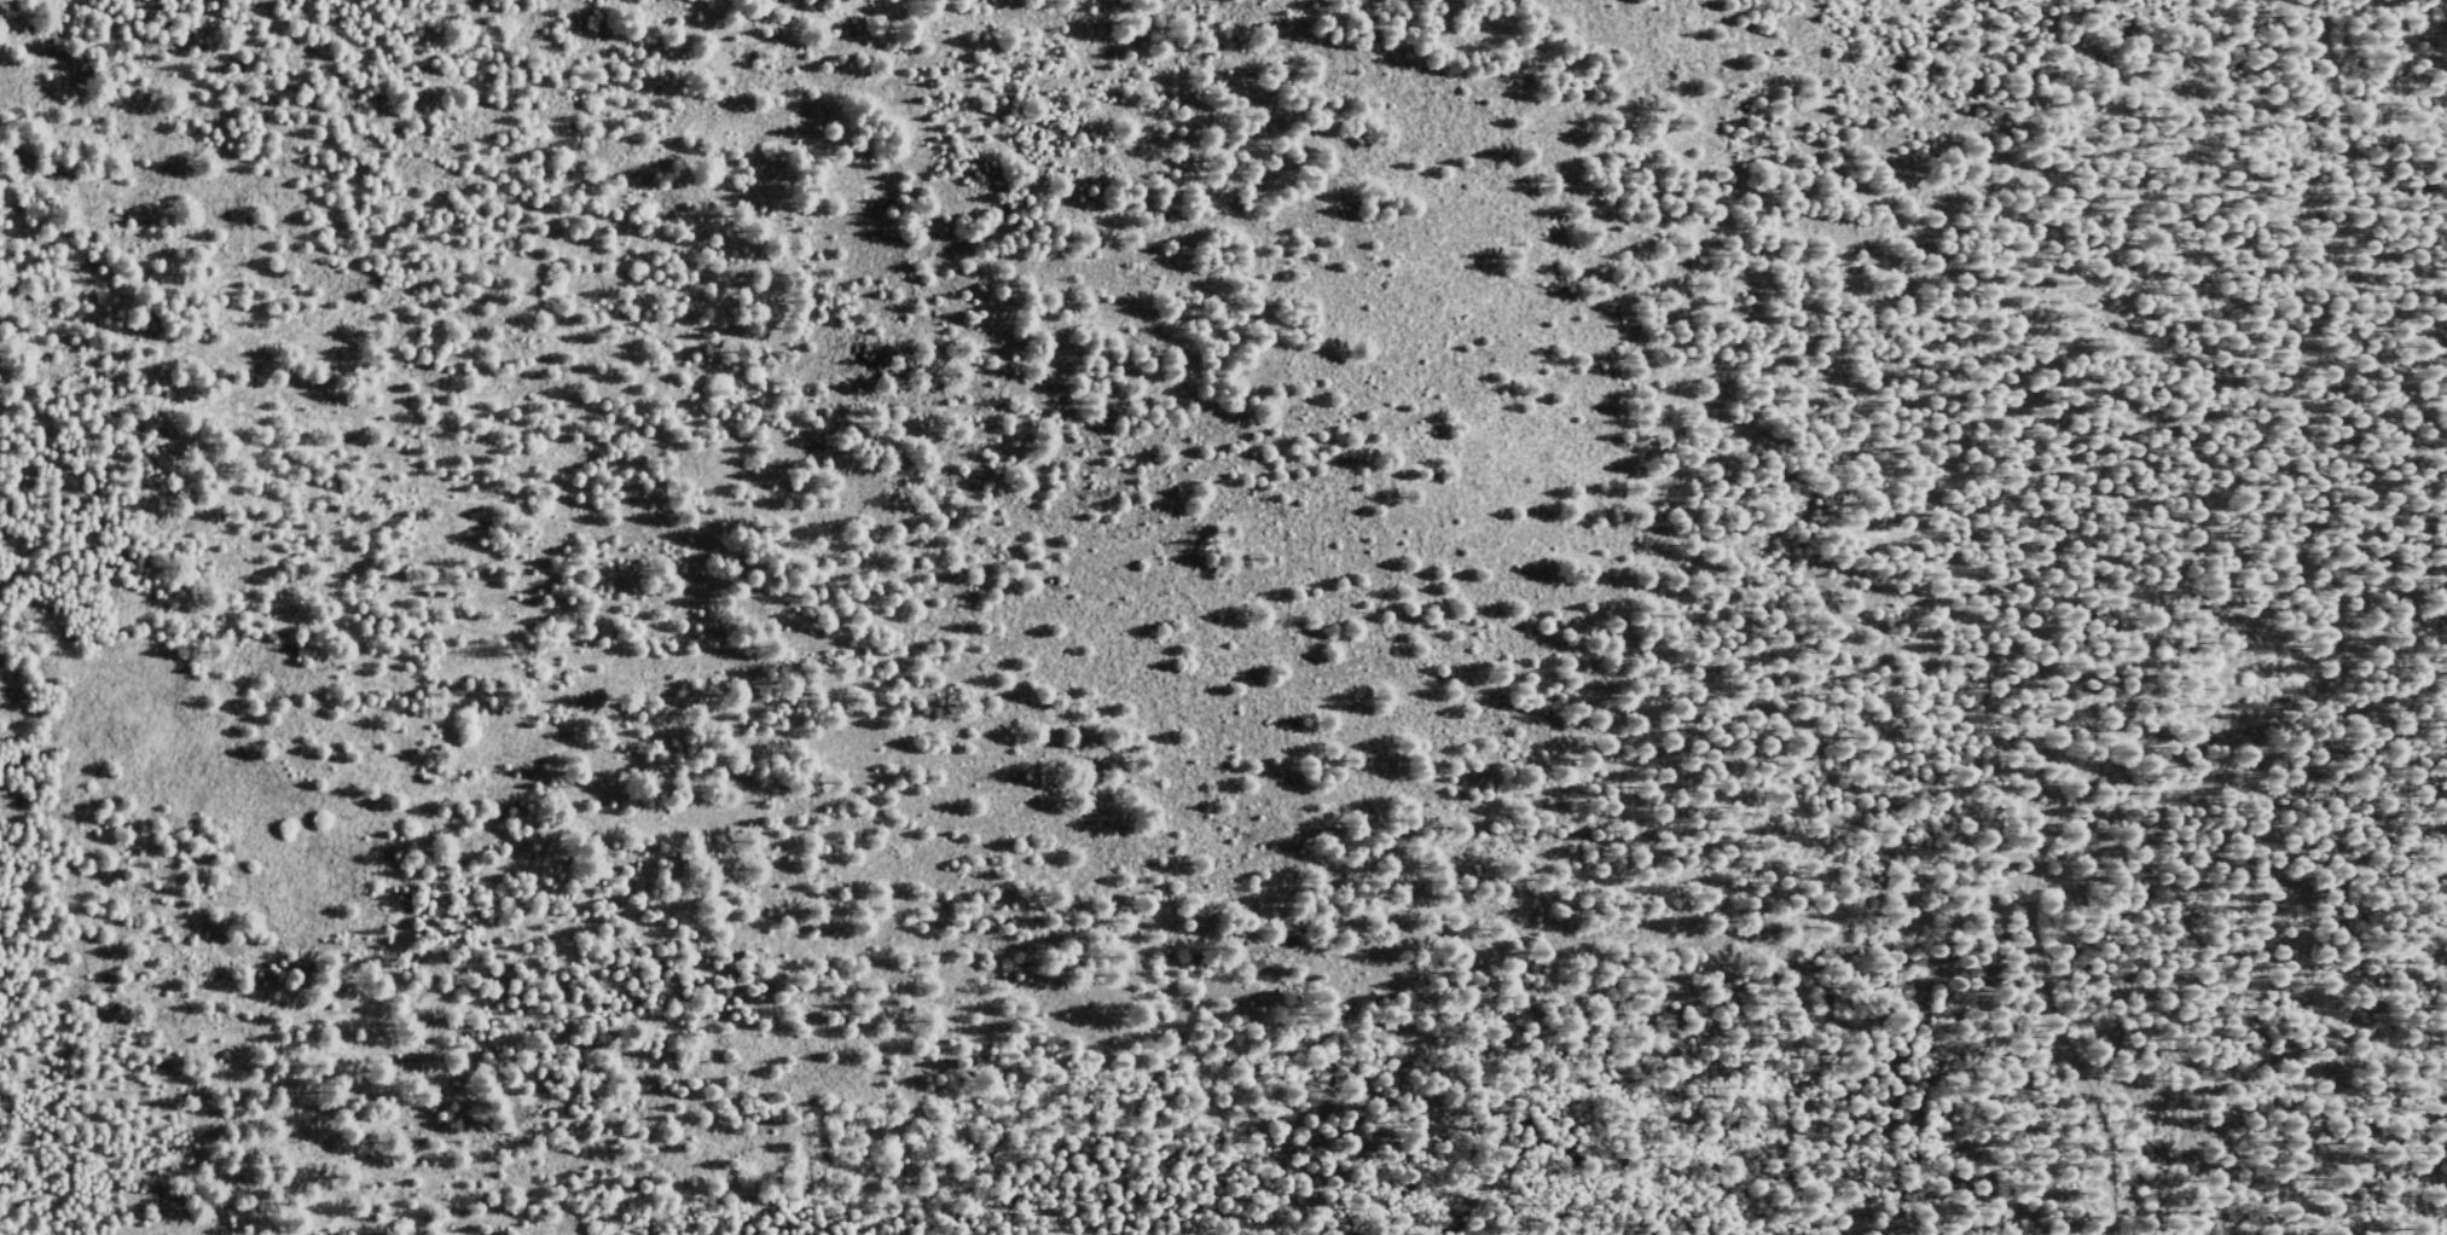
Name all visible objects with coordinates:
road: (2162, 617)

